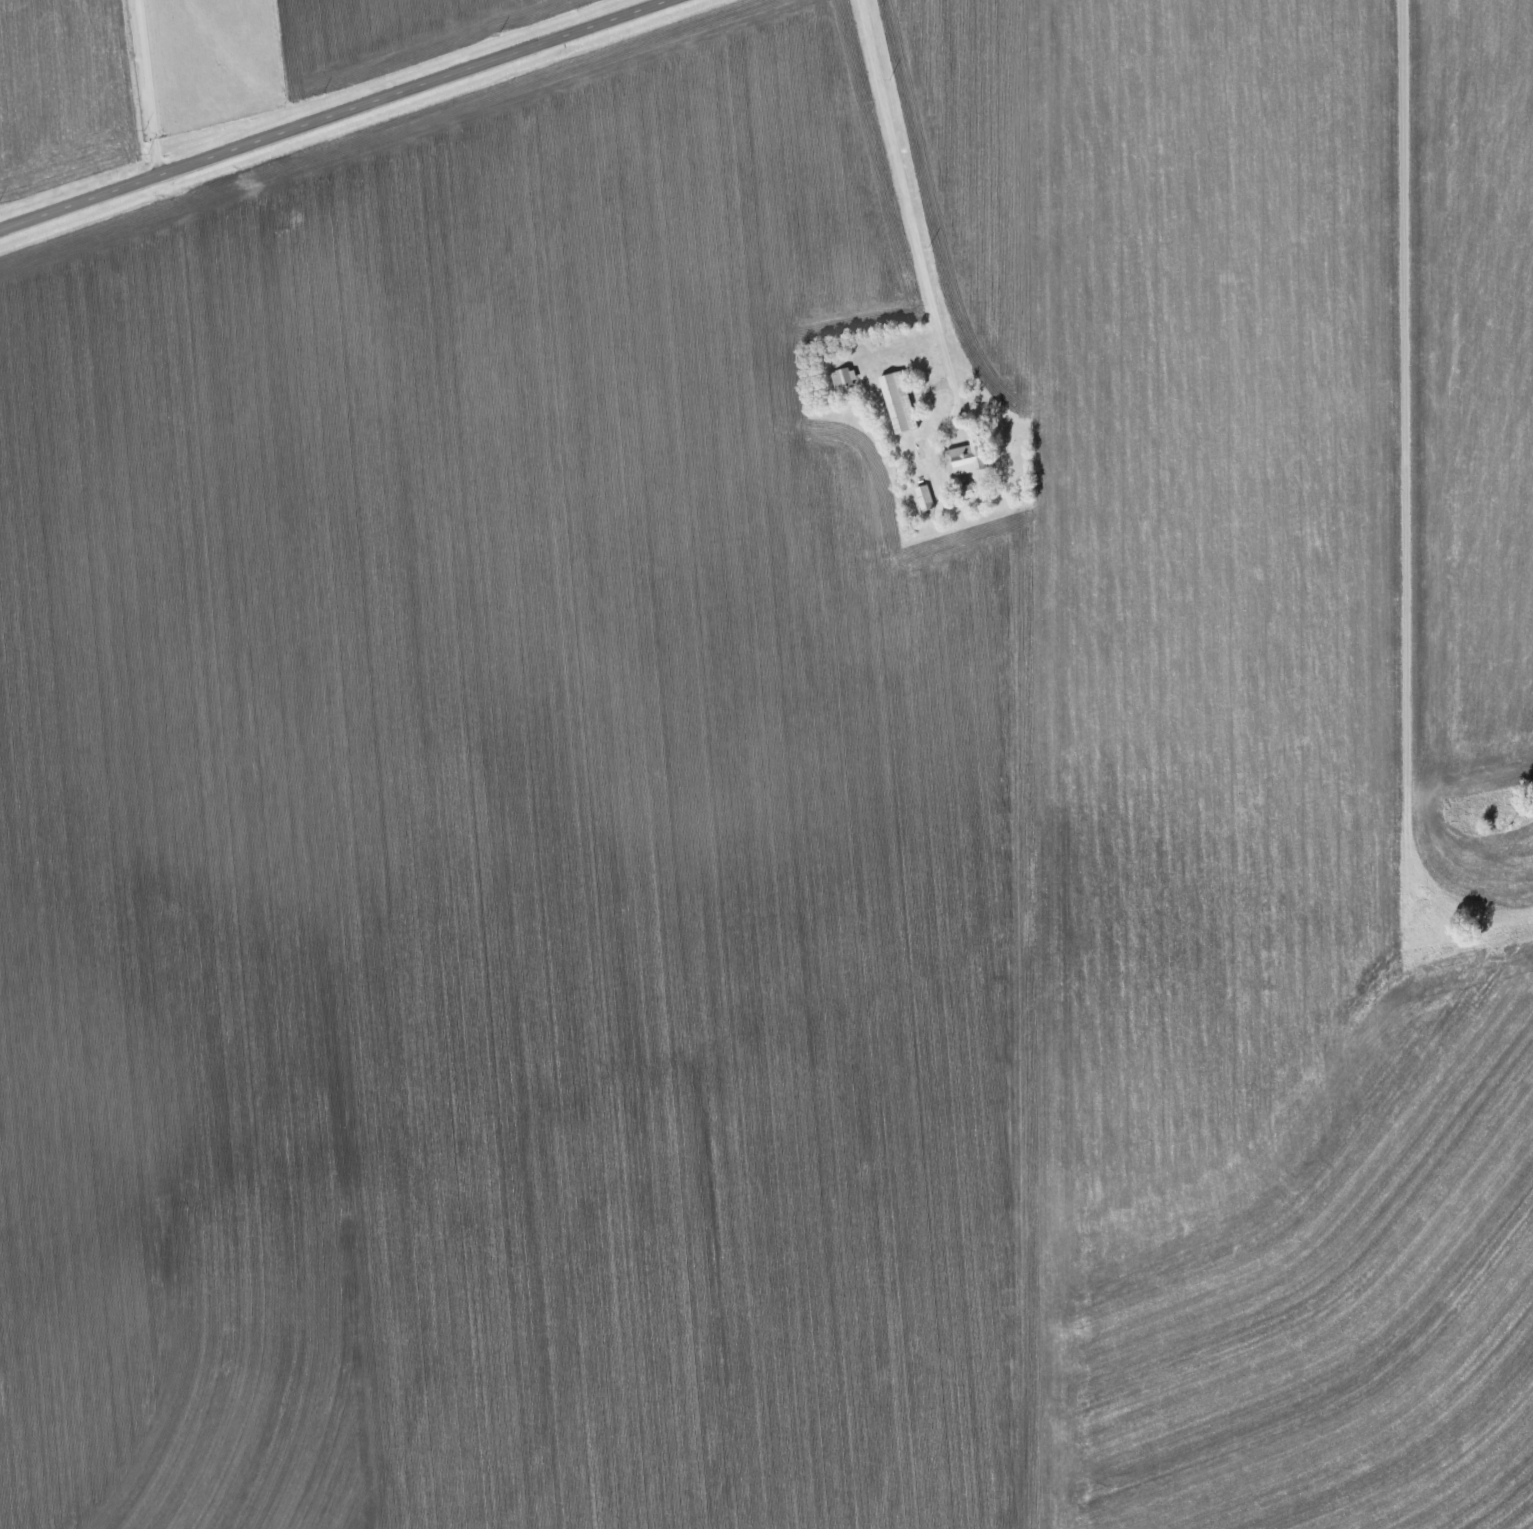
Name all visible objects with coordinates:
road: (154, 88)
road: (336, 116)
road: (900, 186)
building: (897, 402)

